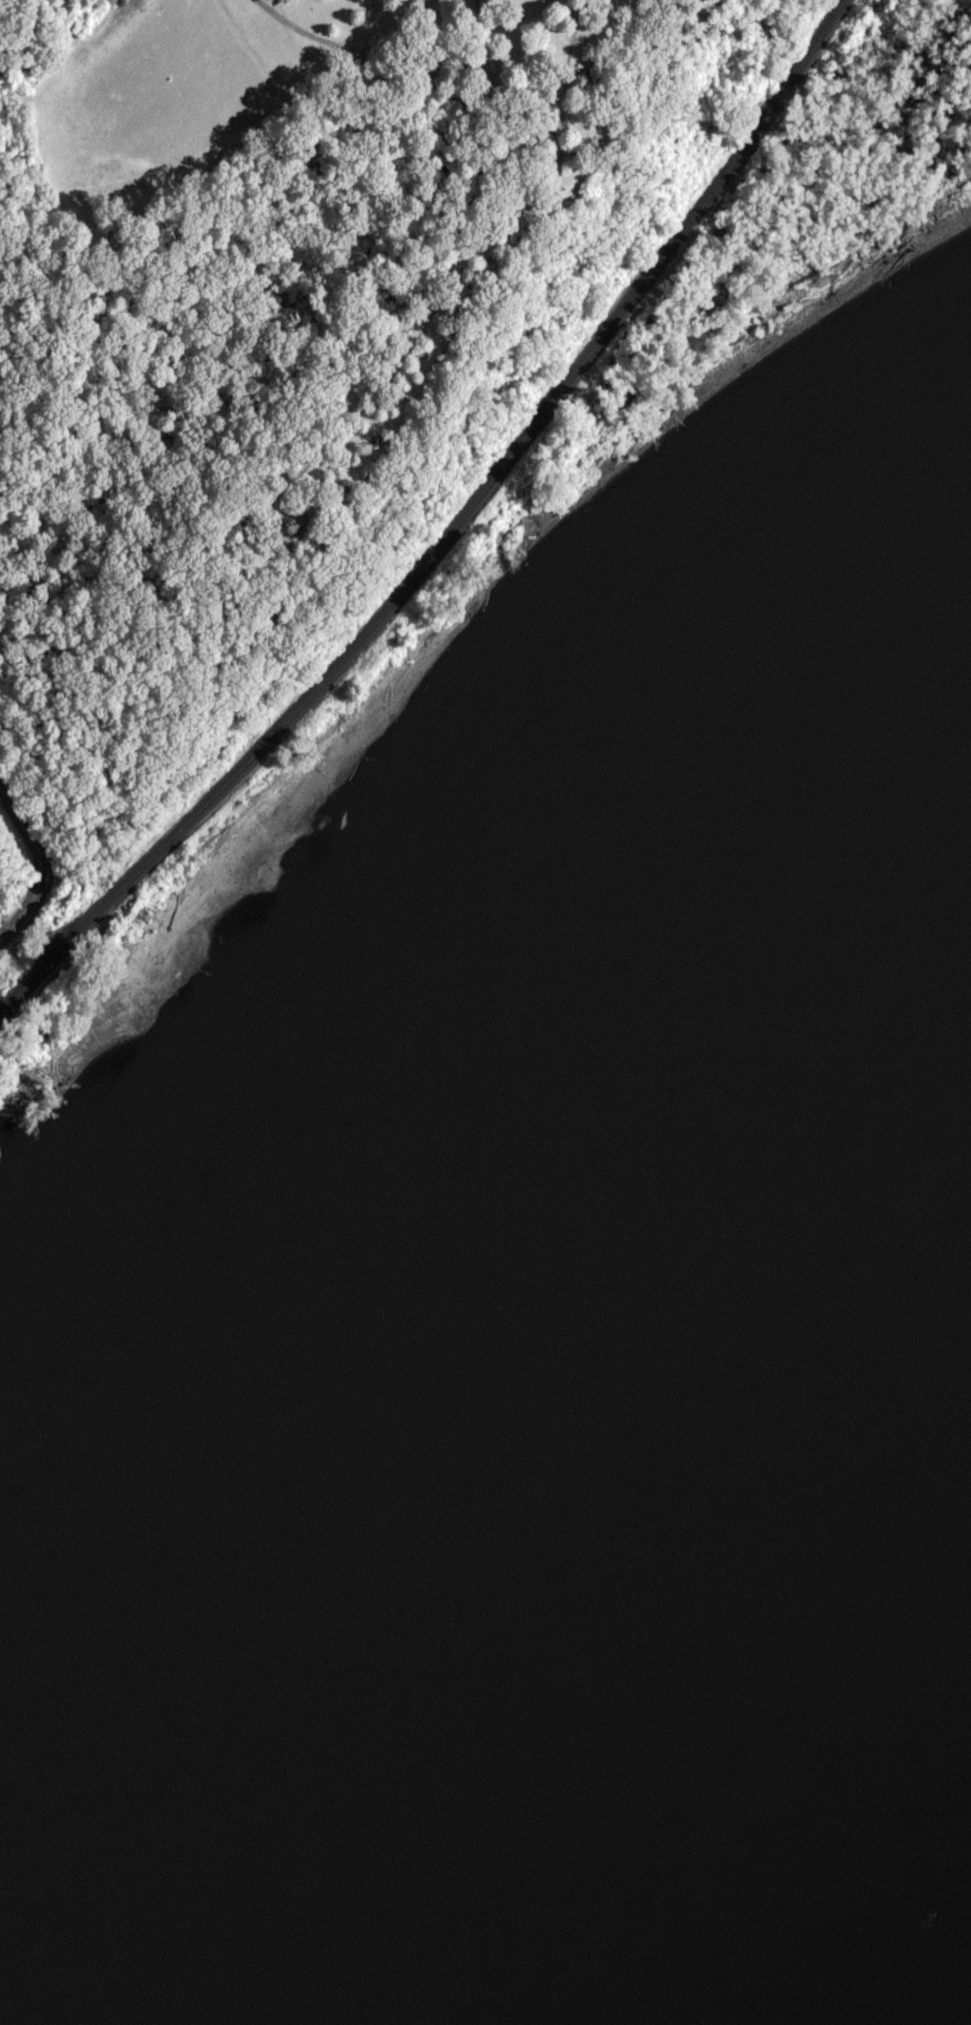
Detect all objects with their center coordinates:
park: (784, 221)
railway: (450, 531)
road: (40, 865)
river: (843, 1905)

